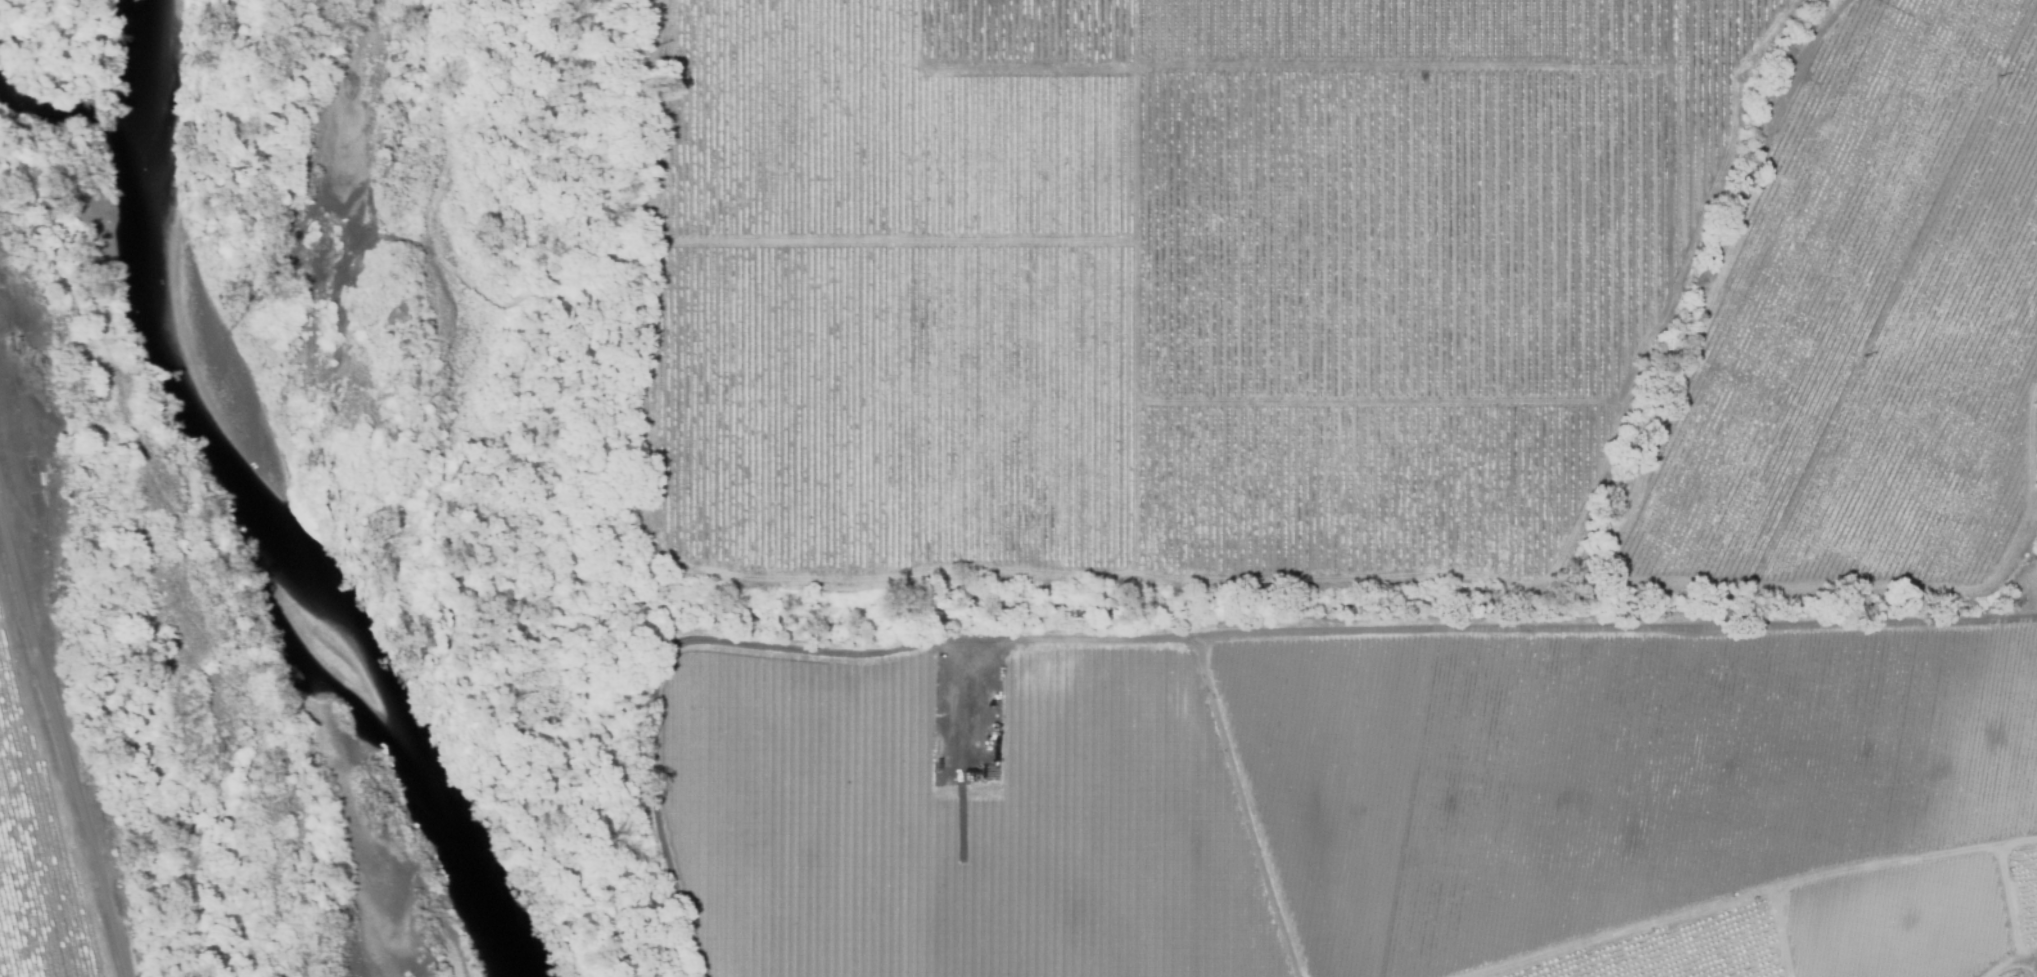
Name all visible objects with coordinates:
river: (294, 498)
river: (229, 509)
river: (258, 510)
road: (1501, 631)
road: (63, 741)

